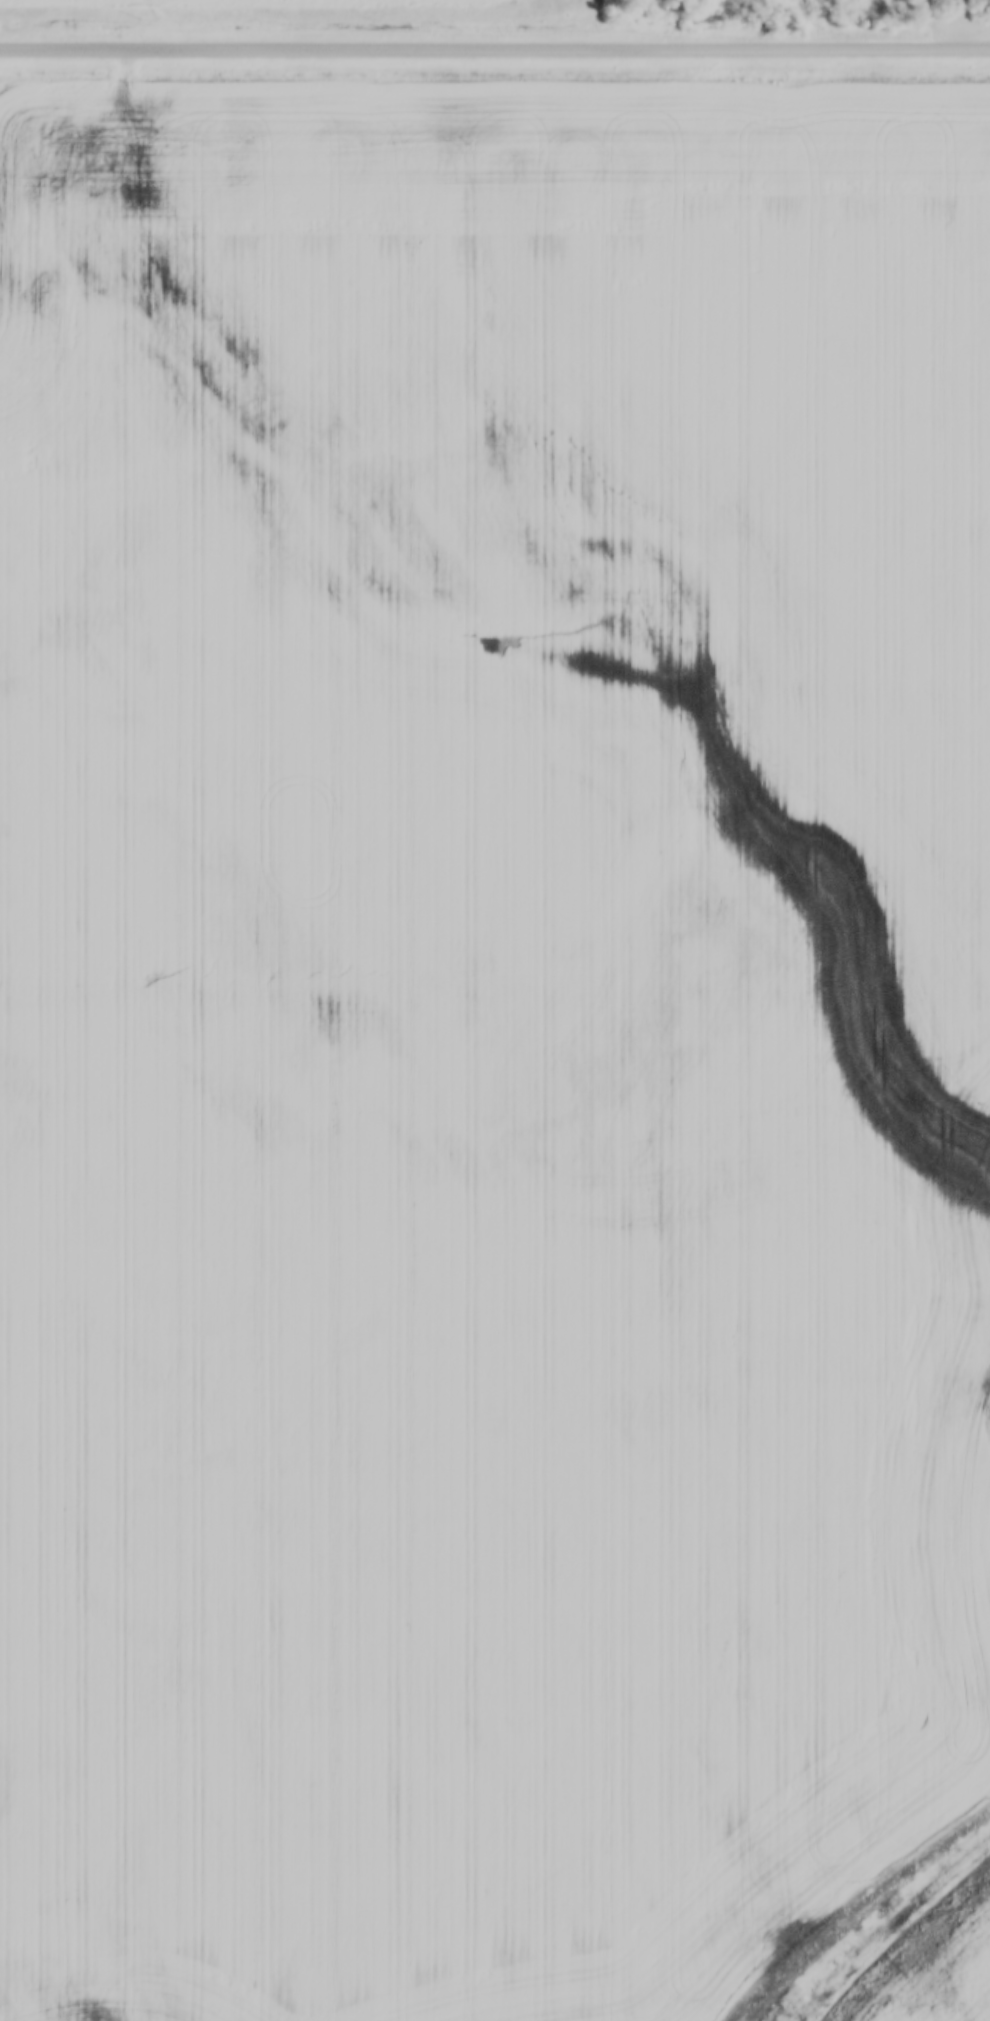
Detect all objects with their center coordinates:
crop: (963, 1994)

